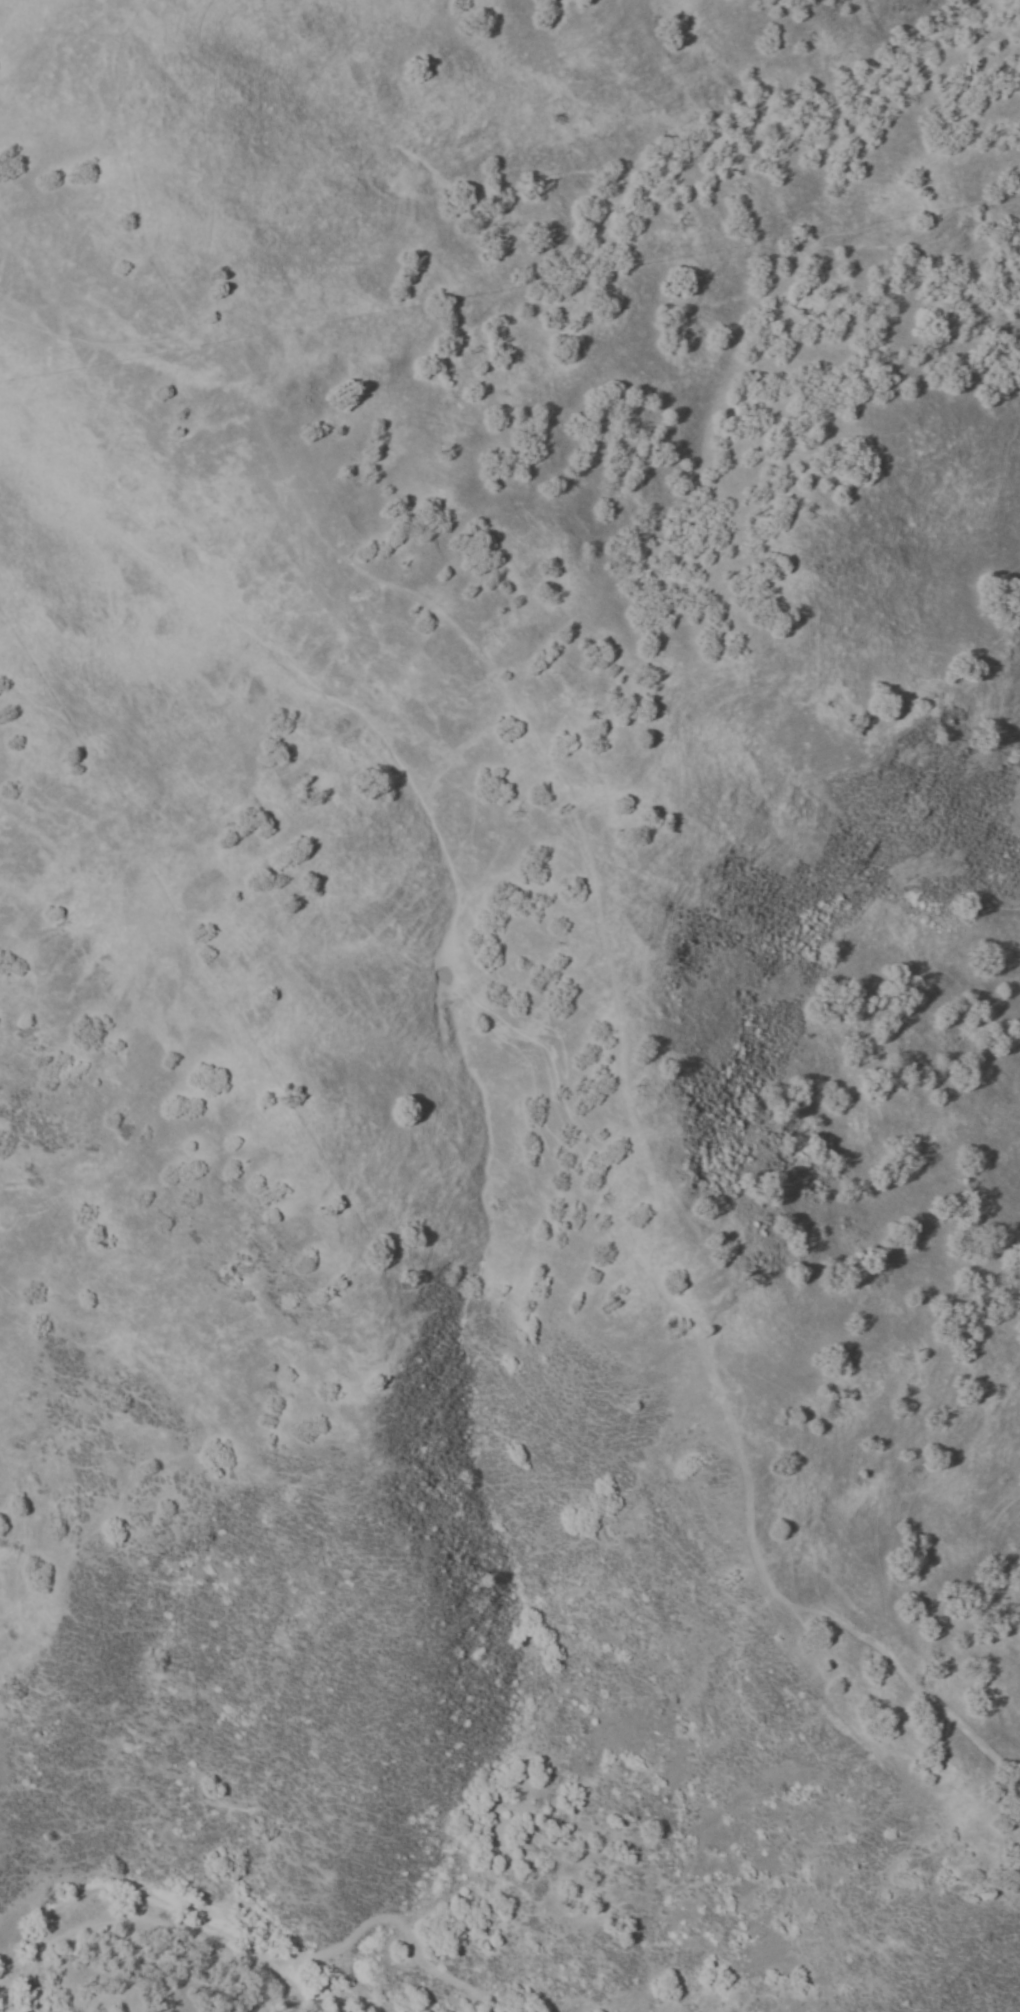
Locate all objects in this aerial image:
road: (139, 258)
road: (566, 808)
road: (747, 1528)
road: (193, 1934)
road: (437, 1970)

